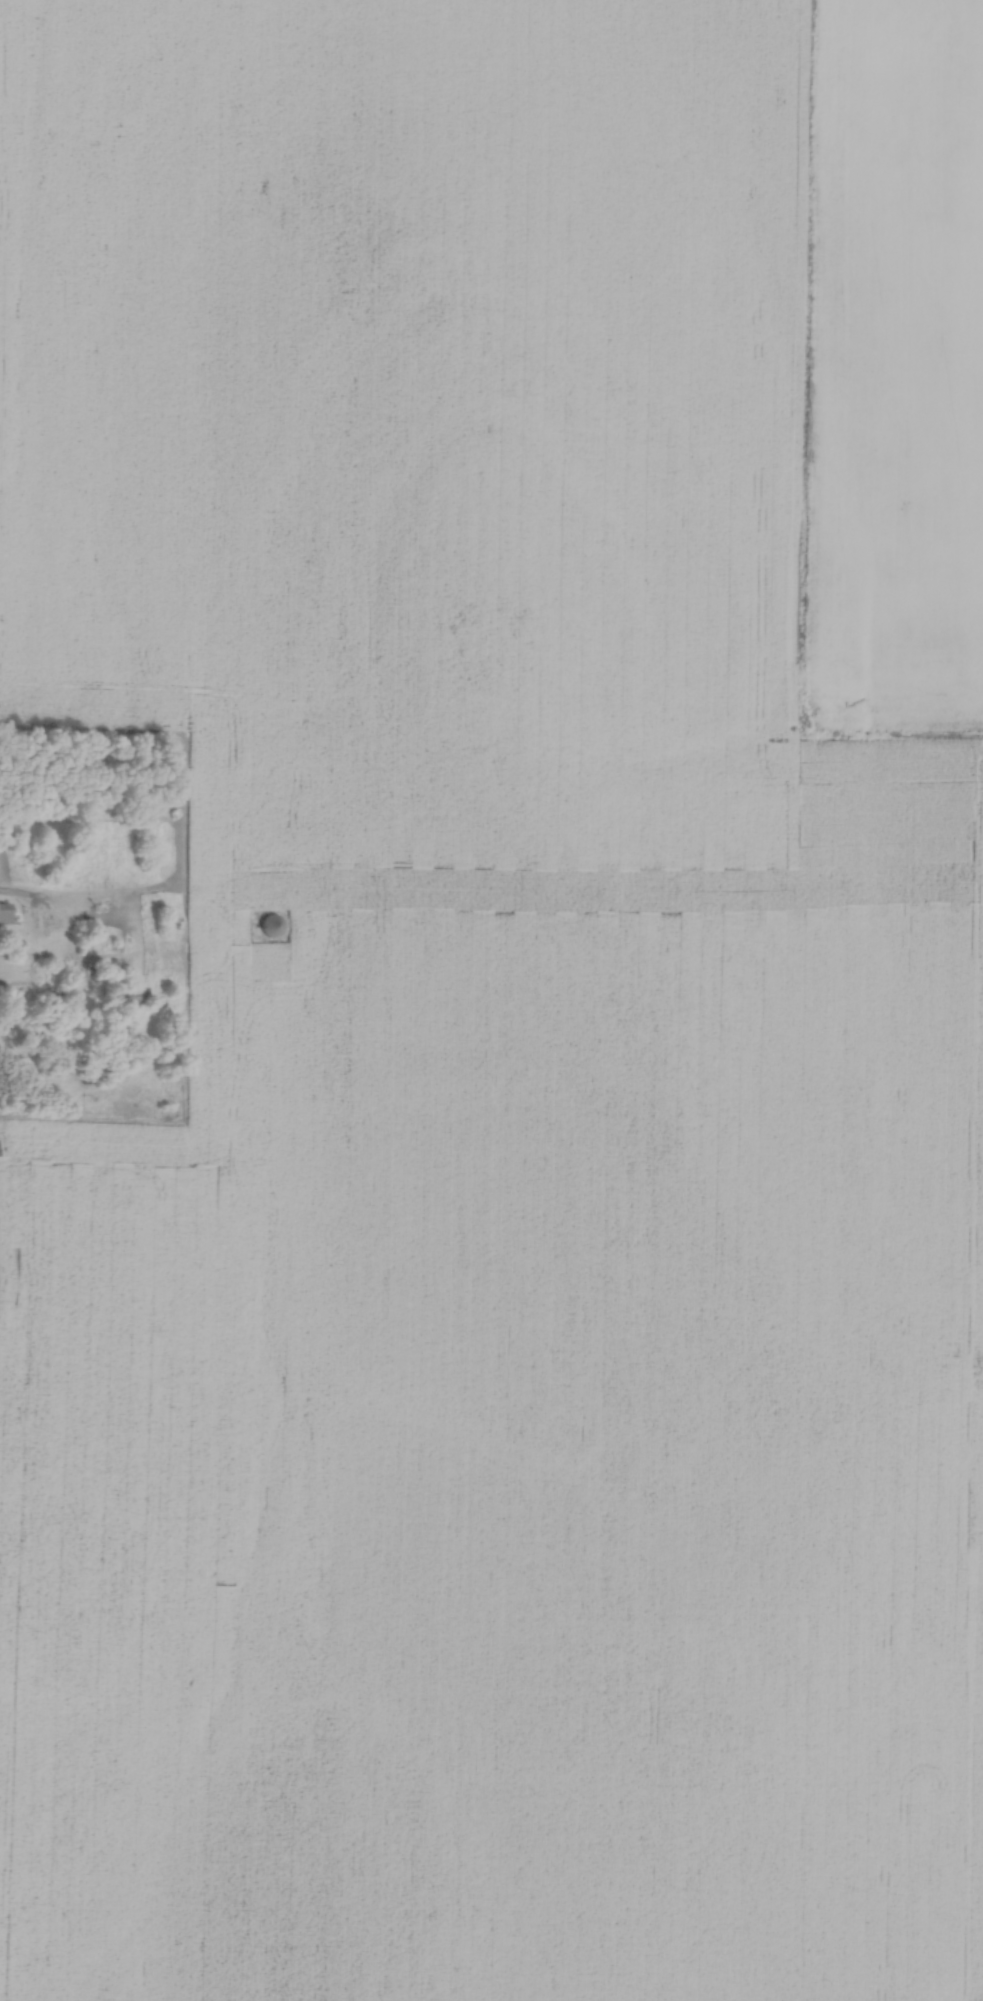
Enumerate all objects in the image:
road: (27, 900)
building: (4, 911)
building: (129, 993)

